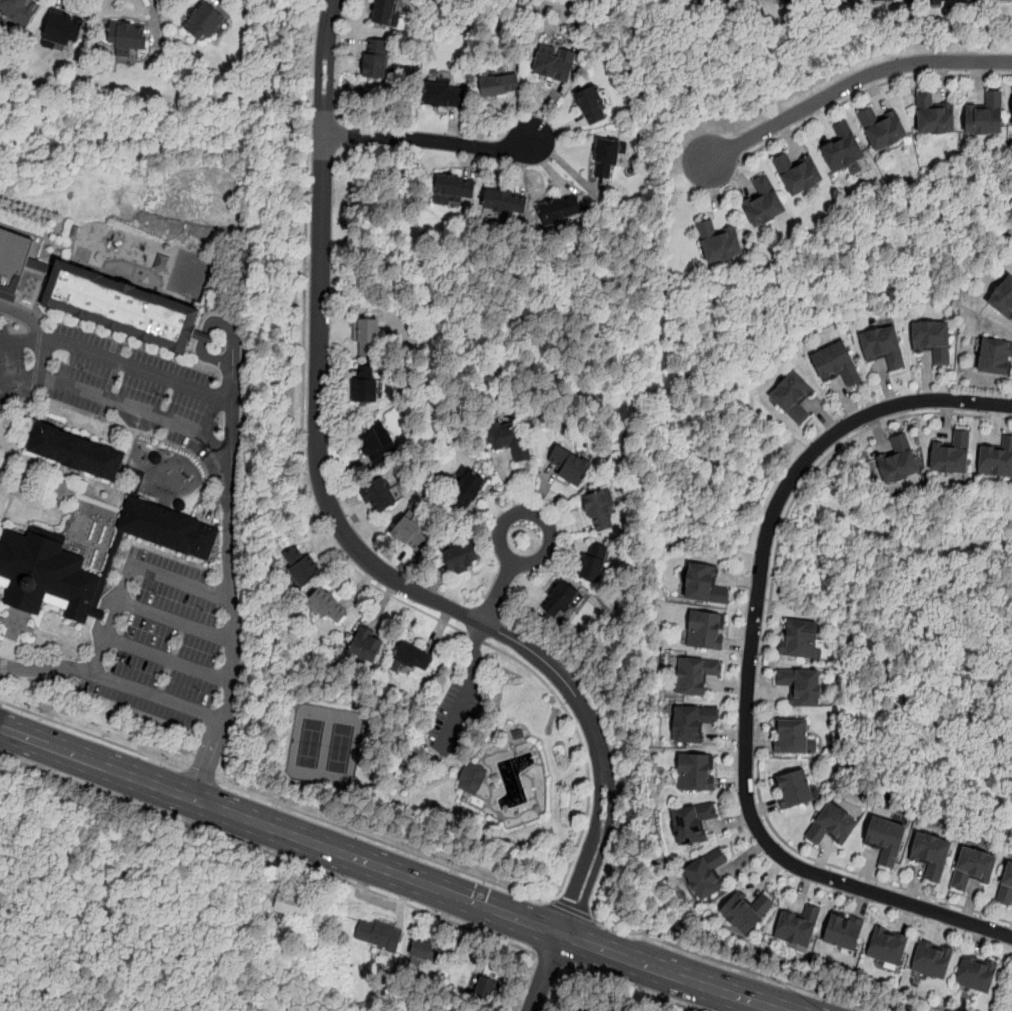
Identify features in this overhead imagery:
building: (879, 0)
building: (996, 0)
building: (788, 1)
building: (939, 1)
building: (21, 12)
building: (389, 13)
building: (207, 25)
building: (65, 32)
building: (128, 39)
building: (378, 59)
building: (559, 65)
road: (855, 81)
building: (501, 86)
road: (867, 88)
building: (447, 96)
building: (595, 106)
building: (984, 114)
building: (933, 115)
building: (882, 128)
road: (430, 141)
building: (842, 147)
building: (610, 158)
building: (797, 173)
building: (457, 188)
building: (506, 201)
building: (763, 201)
building: (562, 210)
building: (718, 242)
building: (13, 262)
building: (1002, 297)
building: (126, 309)
road: (27, 319)
road: (223, 323)
building: (371, 337)
building: (932, 340)
parking lot: (314, 342)
building: (882, 346)
building: (995, 356)
road: (303, 357)
road: (44, 359)
road: (114, 362)
building: (836, 364)
building: (370, 387)
building: (793, 396)
road: (116, 404)
road: (113, 422)
building: (513, 442)
road: (269, 447)
building: (380, 449)
building: (78, 453)
building: (951, 454)
building: (897, 459)
building: (996, 459)
building: (574, 466)
building: (138, 488)
building: (470, 493)
building: (382, 498)
building: (603, 513)
building: (170, 531)
building: (414, 535)
road: (551, 542)
road: (116, 549)
building: (114, 556)
building: (464, 560)
road: (372, 564)
building: (598, 564)
building: (305, 569)
building: (48, 579)
road: (181, 585)
building: (704, 585)
road: (498, 593)
road: (232, 600)
building: (565, 602)
building: (330, 609)
road: (19, 613)
road: (3, 618)
road: (7, 620)
road: (108, 620)
road: (174, 622)
building: (703, 631)
road: (476, 637)
road: (58, 638)
building: (799, 638)
road: (7, 644)
building: (369, 648)
road: (165, 658)
building: (416, 658)
road: (3, 667)
road: (43, 667)
road: (762, 667)
road: (0, 668)
road: (749, 668)
building: (694, 675)
road: (2, 678)
building: (801, 685)
road: (471, 692)
road: (153, 700)
parking lot: (457, 716)
building: (692, 723)
road: (92, 734)
building: (519, 736)
building: (792, 736)
park: (311, 745)
park: (341, 750)
road: (585, 758)
road: (459, 767)
building: (694, 772)
road: (200, 773)
building: (474, 781)
building: (793, 788)
road: (412, 790)
building: (691, 822)
building: (832, 825)
building: (885, 839)
road: (384, 842)
road: (267, 853)
building: (930, 854)
building: (972, 868)
road: (393, 873)
building: (706, 875)
building: (1006, 887)
park: (128, 906)
building: (291, 906)
road: (574, 911)
building: (746, 912)
building: (798, 926)
building: (843, 932)
building: (376, 935)
building: (887, 946)
building: (420, 950)
road: (551, 959)
building: (931, 959)
road: (733, 966)
building: (976, 973)
road: (523, 982)
building: (486, 988)
road: (634, 988)
building: (578, 1010)
building: (584, 1010)

